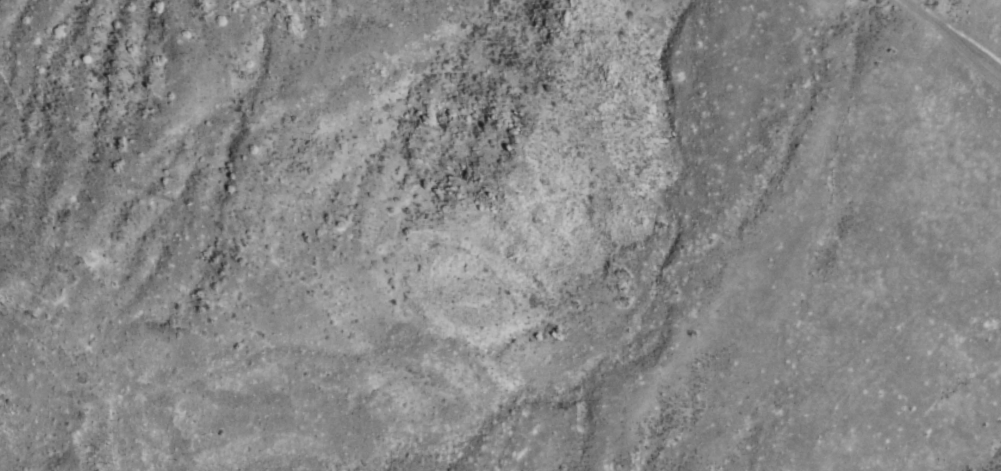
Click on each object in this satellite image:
road: (951, 38)

